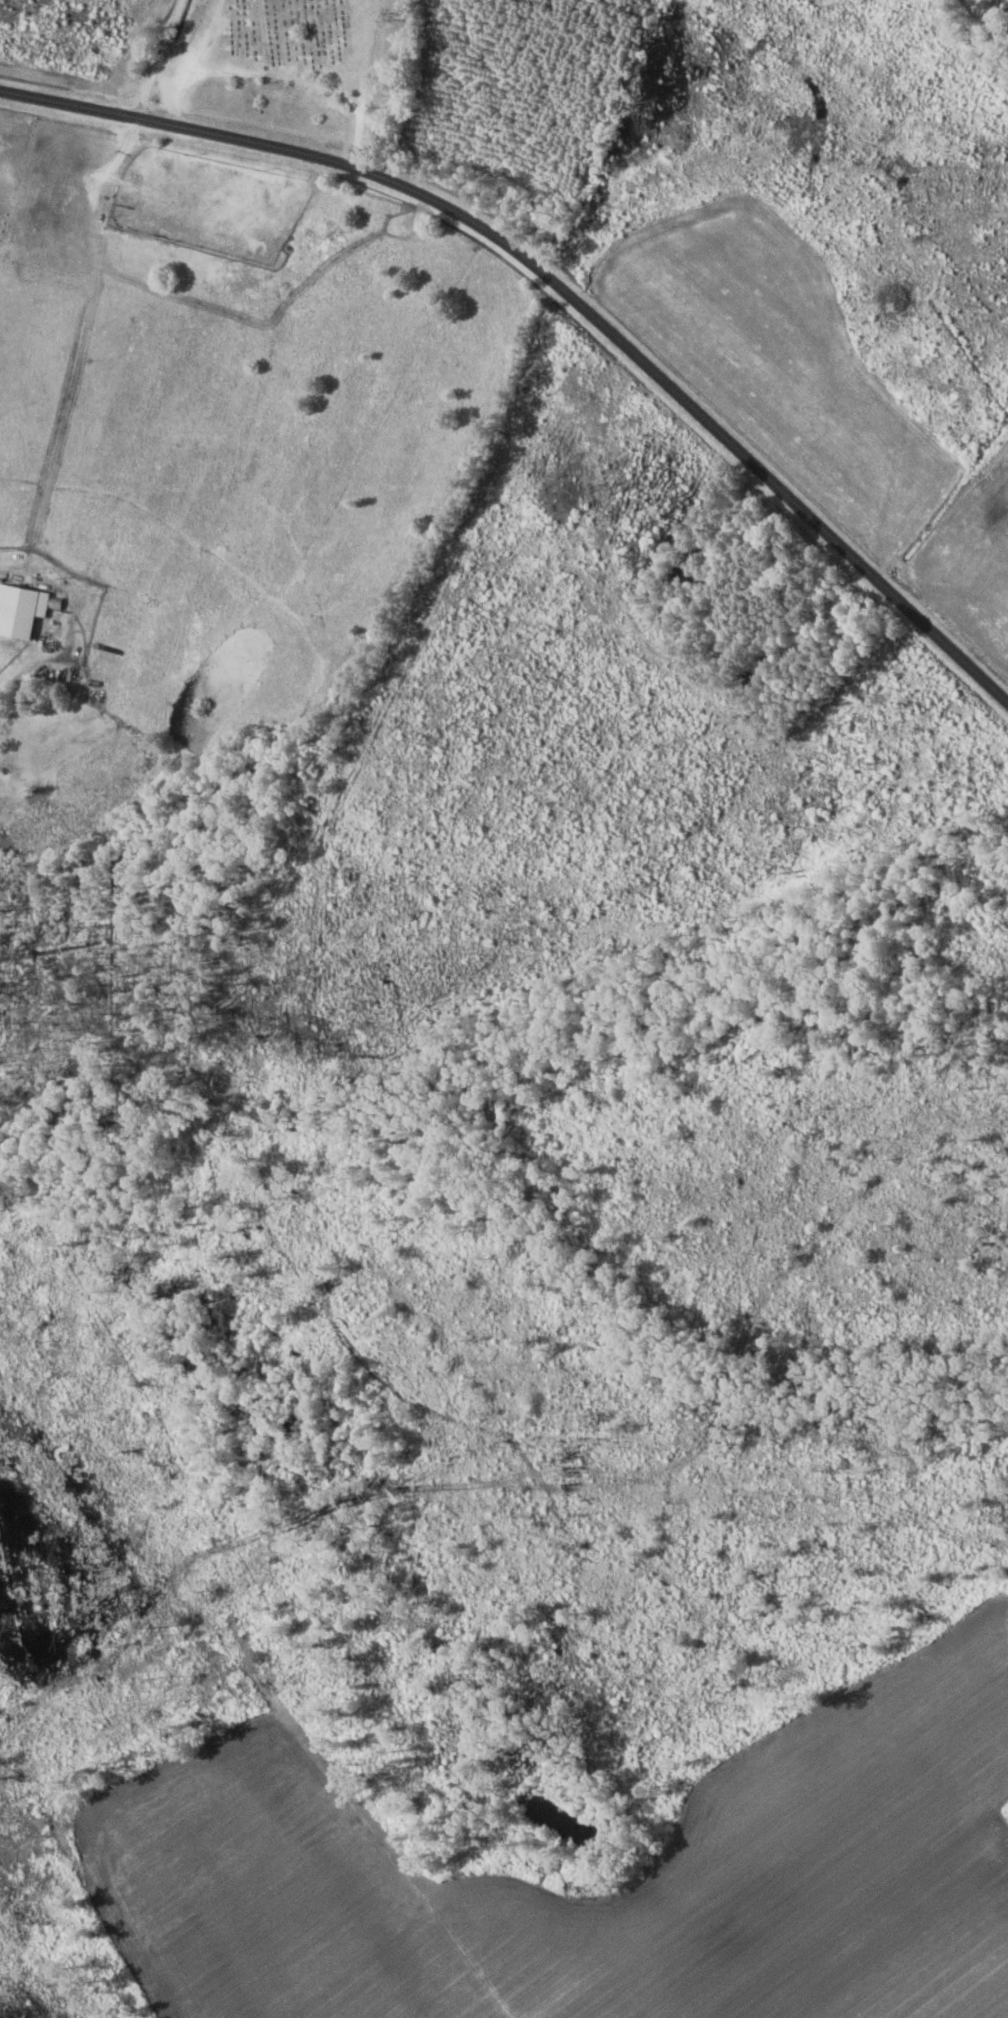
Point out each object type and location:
park: (293, 64)
road: (563, 287)
building: (19, 610)

